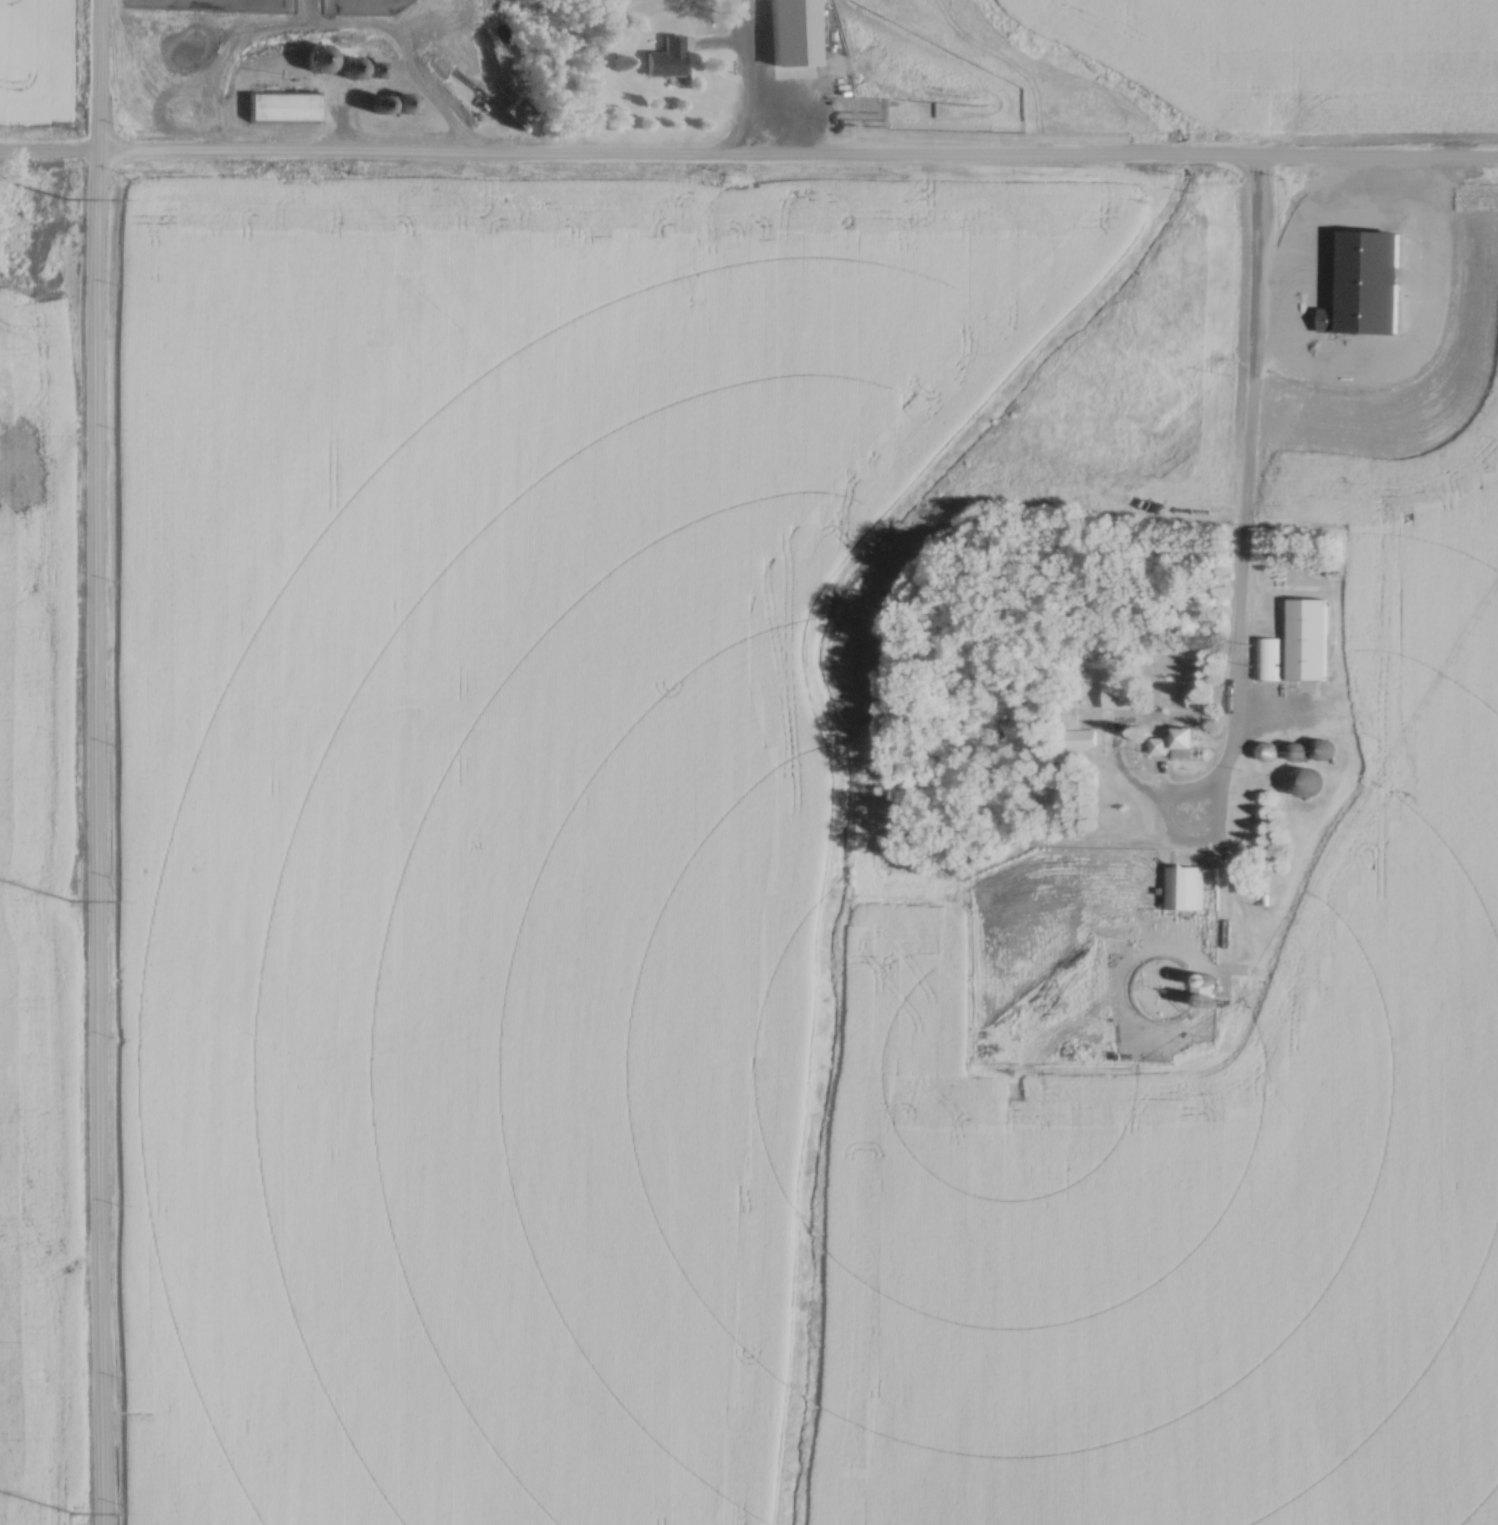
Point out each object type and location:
building: (794, 40)
building: (666, 59)
building: (316, 60)
building: (379, 67)
building: (350, 69)
building: (796, 69)
road: (752, 80)
building: (401, 105)
building: (376, 107)
building: (281, 108)
building: (516, 114)
road: (748, 160)
power tower: (65, 198)
road: (1246, 506)
building: (1306, 640)
building: (1268, 659)
building: (1078, 739)
building: (1174, 744)
road: (98, 762)
building: (1307, 783)
building: (1184, 888)
power tower: (68, 900)
building: (1113, 918)
building: (1202, 990)
power tower: (71, 1512)

